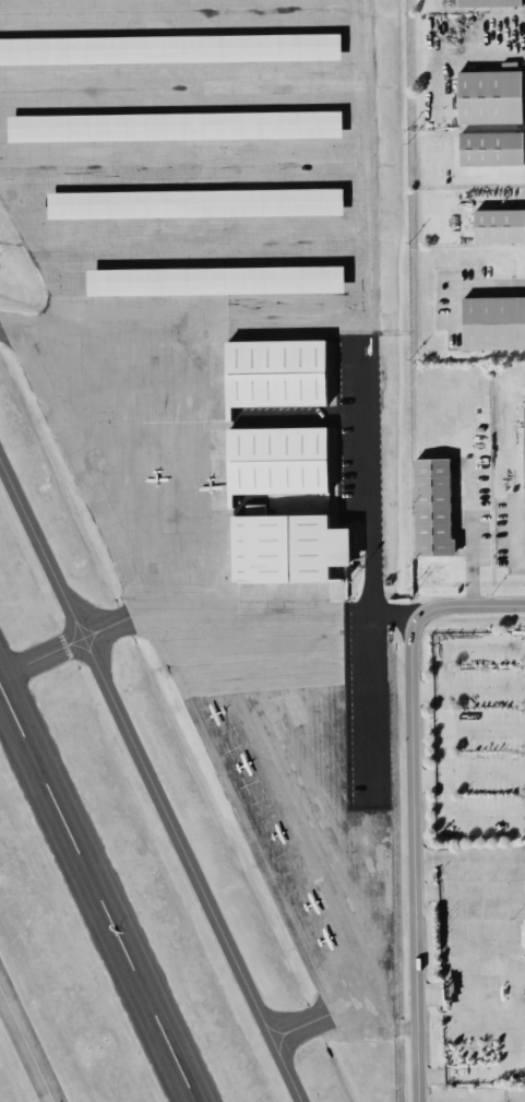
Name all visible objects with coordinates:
building: (486, 2)
building: (168, 47)
building: (488, 95)
building: (174, 125)
building: (489, 147)
building: (193, 202)
building: (498, 225)
building: (213, 279)
road: (467, 286)
road: (370, 307)
building: (492, 321)
building: (274, 371)
airport apron: (208, 381)
building: (524, 453)
building: (275, 459)
building: (431, 507)
road: (469, 534)
airport: (199, 545)
building: (287, 547)
road: (379, 614)
airport taxiway: (12, 665)
airport taxiway: (7, 685)
road: (468, 688)
airport taxiway: (23, 742)
road: (468, 775)
airport taxiway: (150, 783)
road: (413, 803)
road: (468, 856)
road: (478, 891)
airport runway: (97, 896)
flagpole: (437, 921)
flagpole: (437, 927)
road: (508, 933)
flagpole: (437, 934)
road: (463, 993)
airport taxiway: (291, 1027)
airport taxiway: (283, 1040)
airport taxiway: (25, 1046)
road: (504, 1074)

